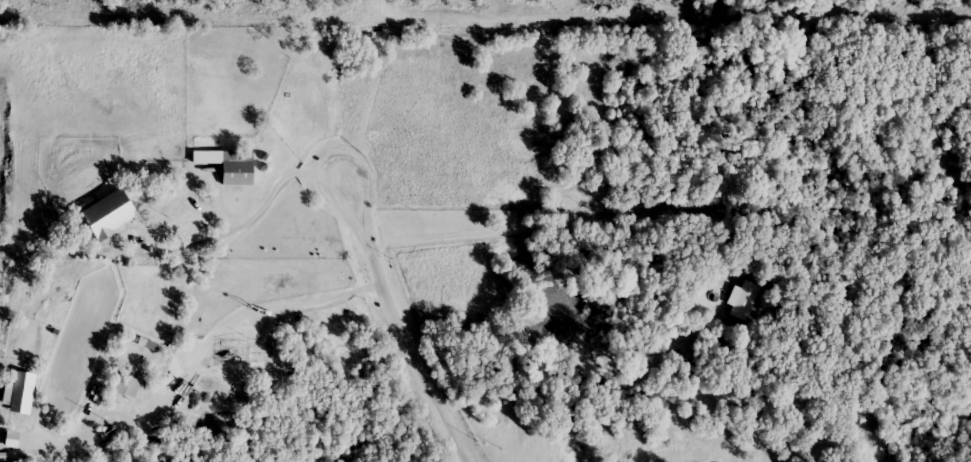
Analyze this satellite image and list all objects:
building: (229, 165)
building: (108, 214)
road: (236, 222)
road: (549, 226)
building: (741, 301)
road: (399, 324)
road: (199, 354)
building: (125, 386)

